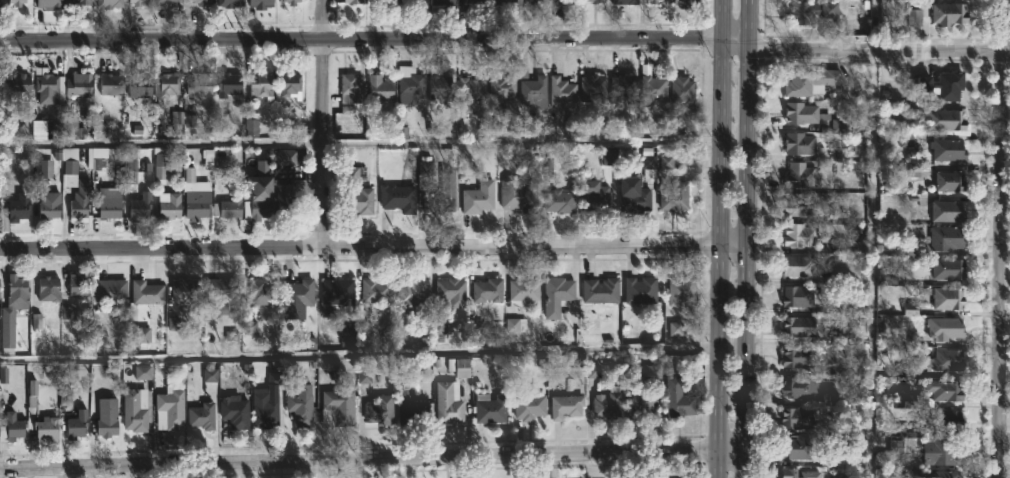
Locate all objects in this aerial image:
building: (476, 0)
building: (542, 0)
building: (598, 0)
building: (953, 0)
building: (66, 1)
building: (291, 1)
building: (354, 1)
building: (384, 1)
building: (415, 1)
building: (534, 1)
building: (564, 1)
building: (626, 1)
building: (17, 2)
building: (81, 2)
building: (138, 2)
building: (171, 2)
building: (202, 2)
building: (504, 2)
building: (655, 2)
building: (686, 2)
building: (1, 3)
building: (110, 3)
building: (231, 3)
building: (260, 3)
building: (49, 4)
building: (440, 4)
building: (814, 10)
building: (950, 13)
building: (916, 19)
road: (362, 38)
road: (737, 42)
road: (879, 49)
road: (872, 62)
building: (812, 82)
building: (112, 83)
building: (201, 84)
building: (291, 84)
building: (0, 85)
building: (79, 85)
building: (167, 85)
building: (230, 85)
building: (260, 85)
building: (474, 85)
building: (945, 85)
building: (139, 86)
building: (411, 86)
building: (441, 86)
building: (653, 86)
building: (46, 87)
building: (624, 87)
building: (19, 88)
building: (353, 88)
building: (380, 88)
building: (594, 88)
building: (534, 89)
building: (502, 90)
building: (562, 90)
building: (684, 90)
building: (909, 109)
building: (802, 113)
building: (946, 119)
road: (325, 123)
building: (838, 125)
building: (905, 140)
road: (361, 142)
building: (802, 143)
building: (950, 149)
building: (160, 164)
building: (130, 165)
building: (70, 167)
building: (43, 169)
building: (910, 170)
building: (425, 173)
building: (801, 176)
building: (952, 181)
building: (442, 195)
building: (518, 196)
building: (636, 196)
building: (479, 197)
building: (595, 197)
building: (676, 197)
building: (399, 198)
building: (257, 199)
building: (285, 200)
building: (360, 200)
building: (80, 201)
building: (560, 202)
building: (200, 204)
building: (48, 205)
building: (170, 205)
building: (800, 205)
building: (141, 207)
building: (109, 208)
building: (229, 208)
building: (18, 209)
building: (949, 211)
building: (801, 235)
building: (947, 237)
road: (872, 238)
road: (1000, 238)
road: (723, 239)
road: (748, 239)
road: (735, 244)
road: (361, 246)
building: (800, 266)
building: (950, 268)
building: (836, 276)
building: (886, 276)
building: (78, 285)
building: (48, 288)
building: (525, 289)
building: (641, 289)
building: (187, 290)
building: (376, 290)
building: (488, 290)
building: (602, 290)
building: (260, 291)
building: (683, 291)
building: (146, 292)
building: (222, 292)
building: (112, 293)
building: (451, 293)
building: (412, 295)
building: (558, 295)
building: (336, 296)
building: (799, 296)
building: (297, 298)
building: (947, 298)
building: (13, 306)
building: (800, 326)
building: (947, 328)
road: (360, 354)
building: (800, 357)
building: (944, 361)
building: (460, 367)
building: (648, 372)
building: (144, 374)
building: (210, 379)
building: (800, 386)
building: (946, 389)
building: (679, 399)
building: (828, 399)
building: (450, 403)
building: (609, 403)
building: (412, 404)
building: (643, 404)
building: (300, 406)
building: (567, 406)
building: (530, 407)
building: (338, 408)
building: (491, 408)
building: (170, 409)
building: (380, 409)
building: (135, 410)
building: (236, 412)
building: (266, 412)
building: (202, 415)
building: (799, 417)
building: (946, 420)
building: (77, 425)
building: (107, 425)
building: (45, 428)
building: (906, 430)
building: (12, 431)
building: (797, 449)
road: (731, 450)
building: (943, 451)
road: (358, 456)
road: (319, 467)
building: (798, 474)
building: (941, 474)
building: (841, 477)

